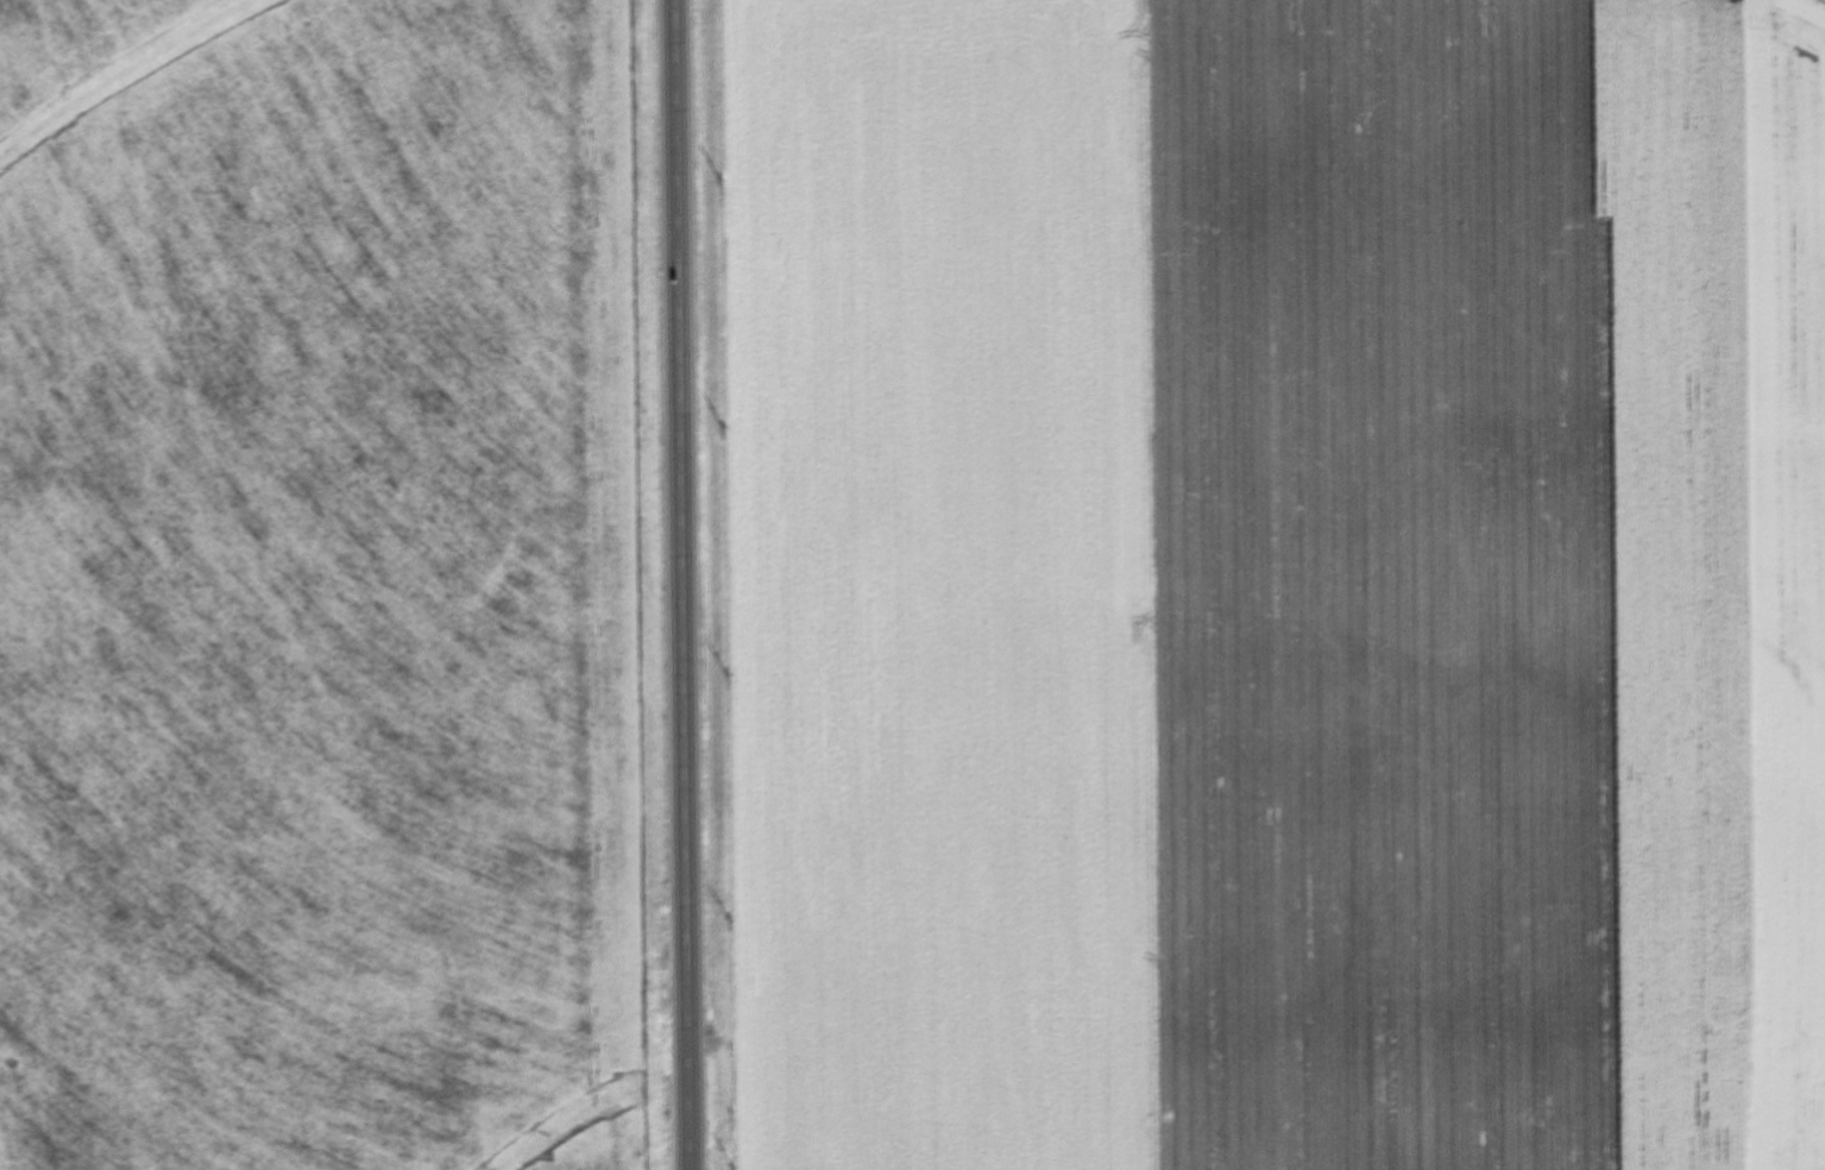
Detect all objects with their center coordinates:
road: (684, 585)

